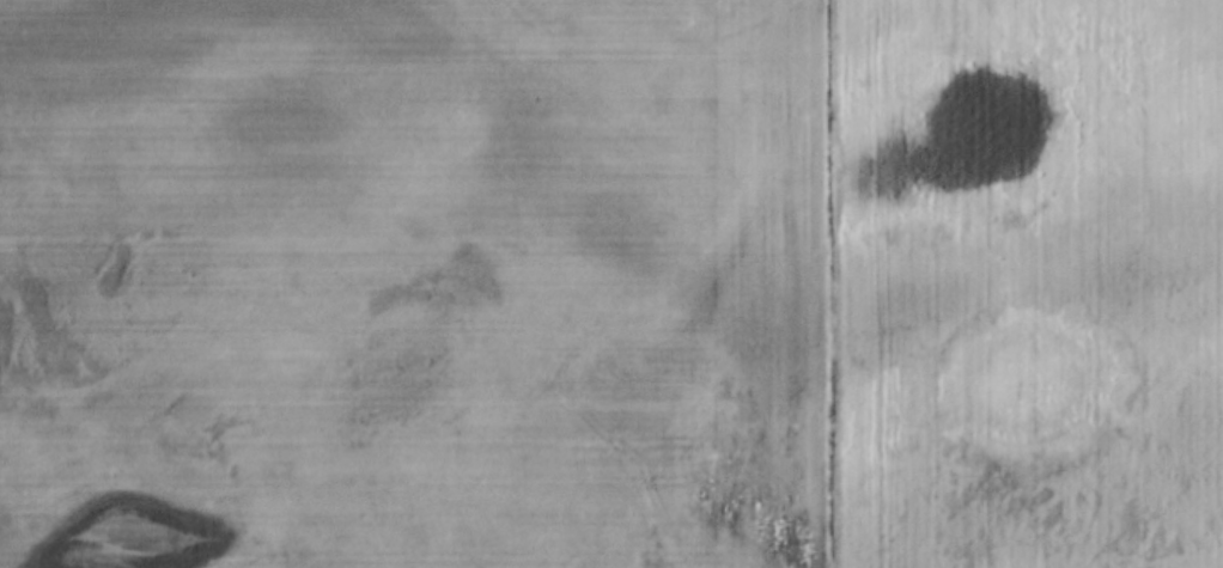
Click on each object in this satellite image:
road: (822, 283)

